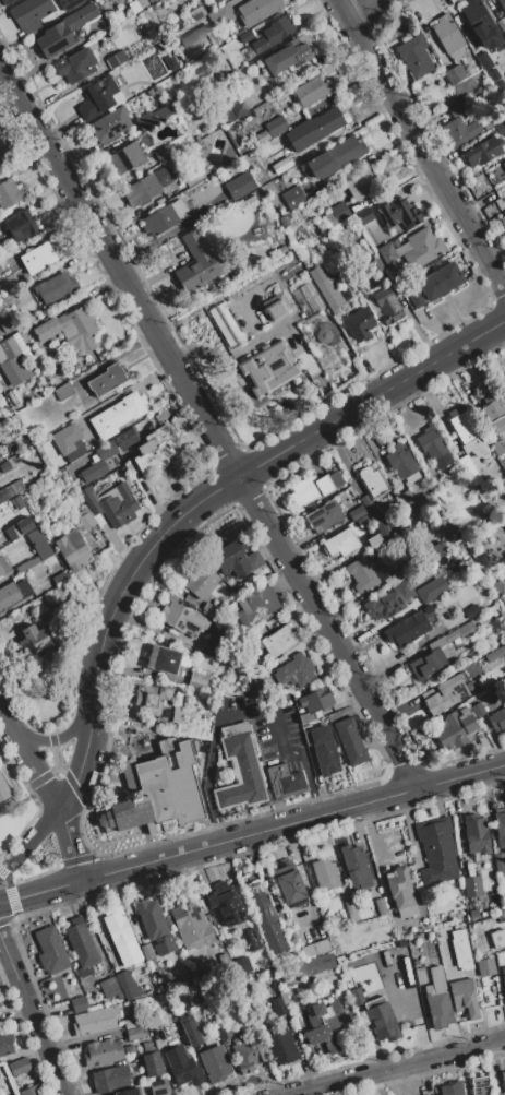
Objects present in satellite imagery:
building: (149, 0)
building: (154, 0)
building: (5, 1)
building: (70, 3)
building: (502, 3)
road: (356, 7)
building: (257, 10)
building: (31, 14)
building: (219, 15)
building: (476, 16)
building: (63, 31)
building: (275, 33)
building: (247, 36)
building: (448, 36)
building: (504, 36)
building: (195, 39)
building: (287, 56)
building: (414, 56)
building: (117, 59)
building: (484, 60)
building: (171, 62)
building: (75, 66)
building: (455, 74)
building: (493, 74)
building: (500, 85)
building: (310, 91)
building: (99, 97)
building: (233, 108)
building: (165, 112)
building: (145, 121)
building: (109, 126)
building: (318, 126)
building: (459, 126)
building: (276, 127)
building: (501, 128)
building: (263, 136)
building: (143, 141)
road: (420, 146)
building: (482, 152)
building: (163, 153)
building: (335, 157)
building: (127, 158)
building: (1, 163)
building: (504, 164)
building: (5, 172)
building: (193, 178)
building: (364, 183)
building: (146, 186)
building: (239, 186)
building: (10, 193)
building: (294, 197)
building: (248, 204)
building: (179, 210)
building: (336, 214)
building: (398, 214)
building: (363, 216)
building: (159, 221)
building: (503, 221)
building: (21, 225)
building: (413, 249)
building: (38, 258)
building: (7, 262)
building: (196, 263)
building: (371, 267)
building: (0, 271)
building: (337, 272)
building: (440, 282)
building: (55, 287)
building: (326, 287)
building: (10, 299)
building: (308, 299)
building: (417, 299)
building: (387, 306)
building: (277, 308)
building: (256, 309)
building: (226, 323)
building: (359, 324)
building: (72, 331)
building: (327, 344)
building: (8, 347)
building: (267, 369)
building: (107, 379)
building: (503, 388)
building: (63, 391)
road: (373, 398)
building: (7, 410)
building: (494, 412)
building: (117, 415)
building: (0, 417)
building: (157, 418)
road: (211, 421)
building: (11, 424)
building: (466, 431)
building: (125, 438)
building: (65, 439)
building: (26, 441)
building: (433, 448)
building: (497, 448)
building: (156, 449)
building: (106, 450)
building: (77, 454)
building: (0, 460)
building: (400, 461)
building: (4, 466)
building: (504, 467)
building: (131, 468)
building: (470, 471)
building: (94, 472)
building: (43, 474)
building: (432, 475)
building: (17, 486)
building: (310, 489)
building: (5, 493)
building: (373, 493)
building: (406, 499)
building: (88, 500)
building: (19, 502)
building: (119, 507)
building: (356, 512)
building: (324, 515)
building: (84, 519)
building: (484, 520)
building: (503, 523)
building: (19, 527)
building: (453, 533)
building: (373, 539)
building: (340, 543)
building: (72, 549)
building: (437, 549)
building: (35, 550)
building: (237, 558)
building: (3, 567)
building: (404, 569)
road: (132, 573)
building: (361, 574)
building: (60, 576)
building: (393, 578)
building: (202, 583)
building: (432, 590)
building: (62, 591)
building: (13, 593)
building: (389, 602)
building: (504, 604)
building: (256, 606)
building: (428, 609)
building: (471, 611)
building: (182, 619)
building: (448, 621)
building: (407, 629)
building: (466, 631)
building: (443, 640)
building: (34, 641)
building: (279, 641)
building: (217, 651)
building: (494, 653)
building: (164, 659)
building: (425, 666)
building: (296, 671)
building: (197, 680)
building: (258, 680)
building: (447, 693)
building: (151, 700)
building: (314, 703)
building: (478, 710)
road: (240, 712)
building: (180, 715)
road: (8, 719)
building: (497, 721)
building: (456, 729)
road: (57, 738)
building: (350, 741)
building: (324, 750)
road: (55, 754)
road: (82, 762)
road: (38, 769)
road: (62, 770)
building: (240, 772)
building: (286, 781)
building: (4, 792)
building: (158, 792)
building: (504, 809)
building: (500, 829)
road: (252, 833)
building: (477, 834)
road: (32, 841)
road: (69, 842)
building: (437, 850)
building: (354, 865)
building: (500, 865)
building: (325, 873)
building: (290, 885)
building: (472, 886)
building: (400, 889)
building: (224, 902)
building: (381, 906)
building: (351, 910)
building: (265, 917)
building: (168, 921)
building: (191, 924)
building: (320, 927)
building: (120, 932)
building: (157, 932)
building: (497, 938)
building: (252, 939)
building: (82, 945)
building: (315, 948)
building: (461, 950)
building: (51, 951)
building: (147, 952)
road: (9, 957)
building: (224, 961)
building: (314, 964)
building: (485, 966)
building: (202, 974)
building: (420, 975)
building: (287, 978)
building: (503, 979)
building: (128, 985)
building: (109, 988)
building: (356, 996)
building: (465, 997)
building: (284, 998)
building: (437, 1000)
building: (79, 1003)
building: (279, 1005)
building: (95, 1020)
building: (382, 1020)
building: (152, 1022)
building: (131, 1023)
building: (328, 1027)
building: (225, 1028)
building: (191, 1031)
building: (134, 1033)
road: (41, 1036)
building: (5, 1044)
building: (146, 1046)
building: (281, 1048)
building: (103, 1052)
building: (249, 1056)
building: (152, 1063)
building: (215, 1063)
building: (19, 1067)
building: (182, 1067)
road: (392, 1067)
building: (110, 1079)
building: (502, 1083)
building: (480, 1086)
building: (159, 1087)
building: (452, 1088)
building: (31, 1091)
building: (129, 1092)
building: (14, 1094)

